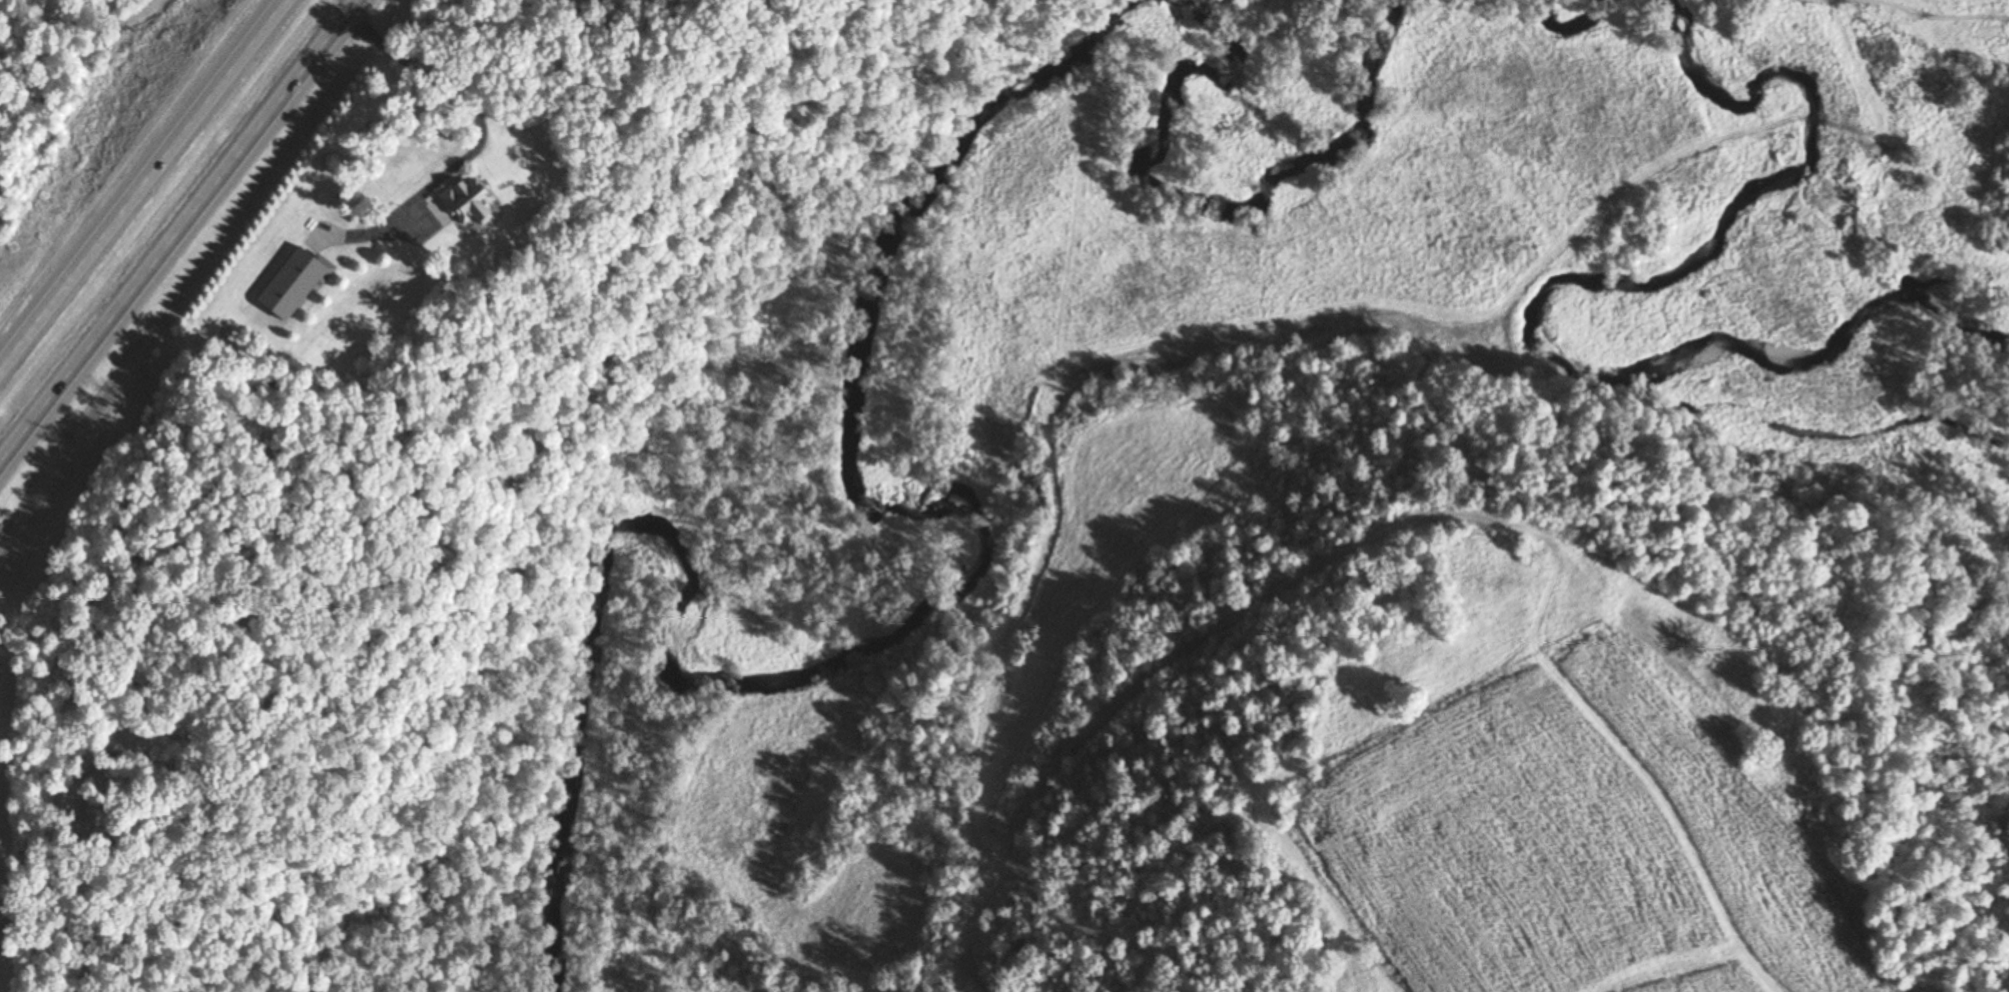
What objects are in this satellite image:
road: (144, 6)
road: (474, 145)
road: (137, 175)
building: (464, 203)
road: (177, 233)
building: (287, 282)
road: (1943, 810)
road: (1925, 906)

